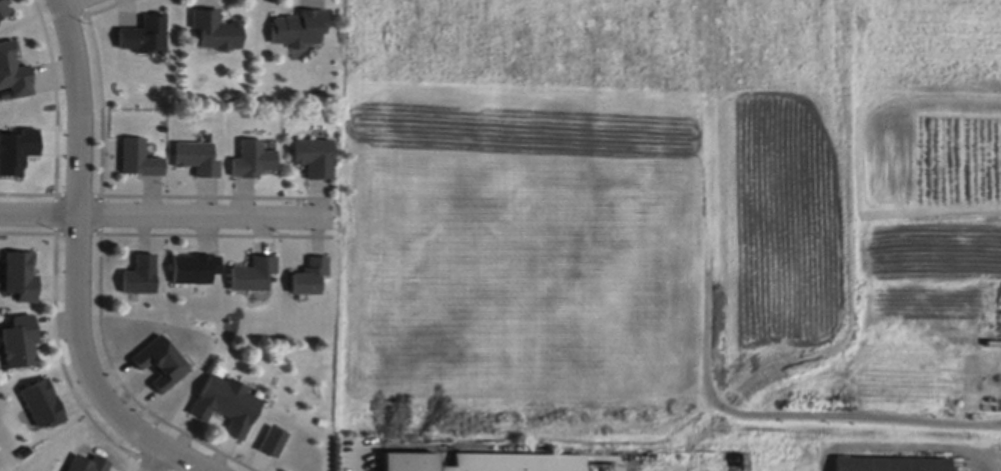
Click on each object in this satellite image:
road: (74, 3)
building: (4, 10)
building: (301, 29)
building: (217, 32)
building: (148, 39)
building: (13, 75)
building: (140, 161)
building: (198, 161)
building: (315, 161)
building: (254, 162)
road: (174, 217)
road: (78, 264)
building: (195, 264)
building: (254, 270)
building: (141, 271)
building: (311, 271)
building: (21, 275)
building: (20, 337)
road: (1000, 344)
road: (708, 346)
building: (228, 401)
building: (41, 405)
road: (157, 459)
building: (482, 460)
building: (890, 461)

